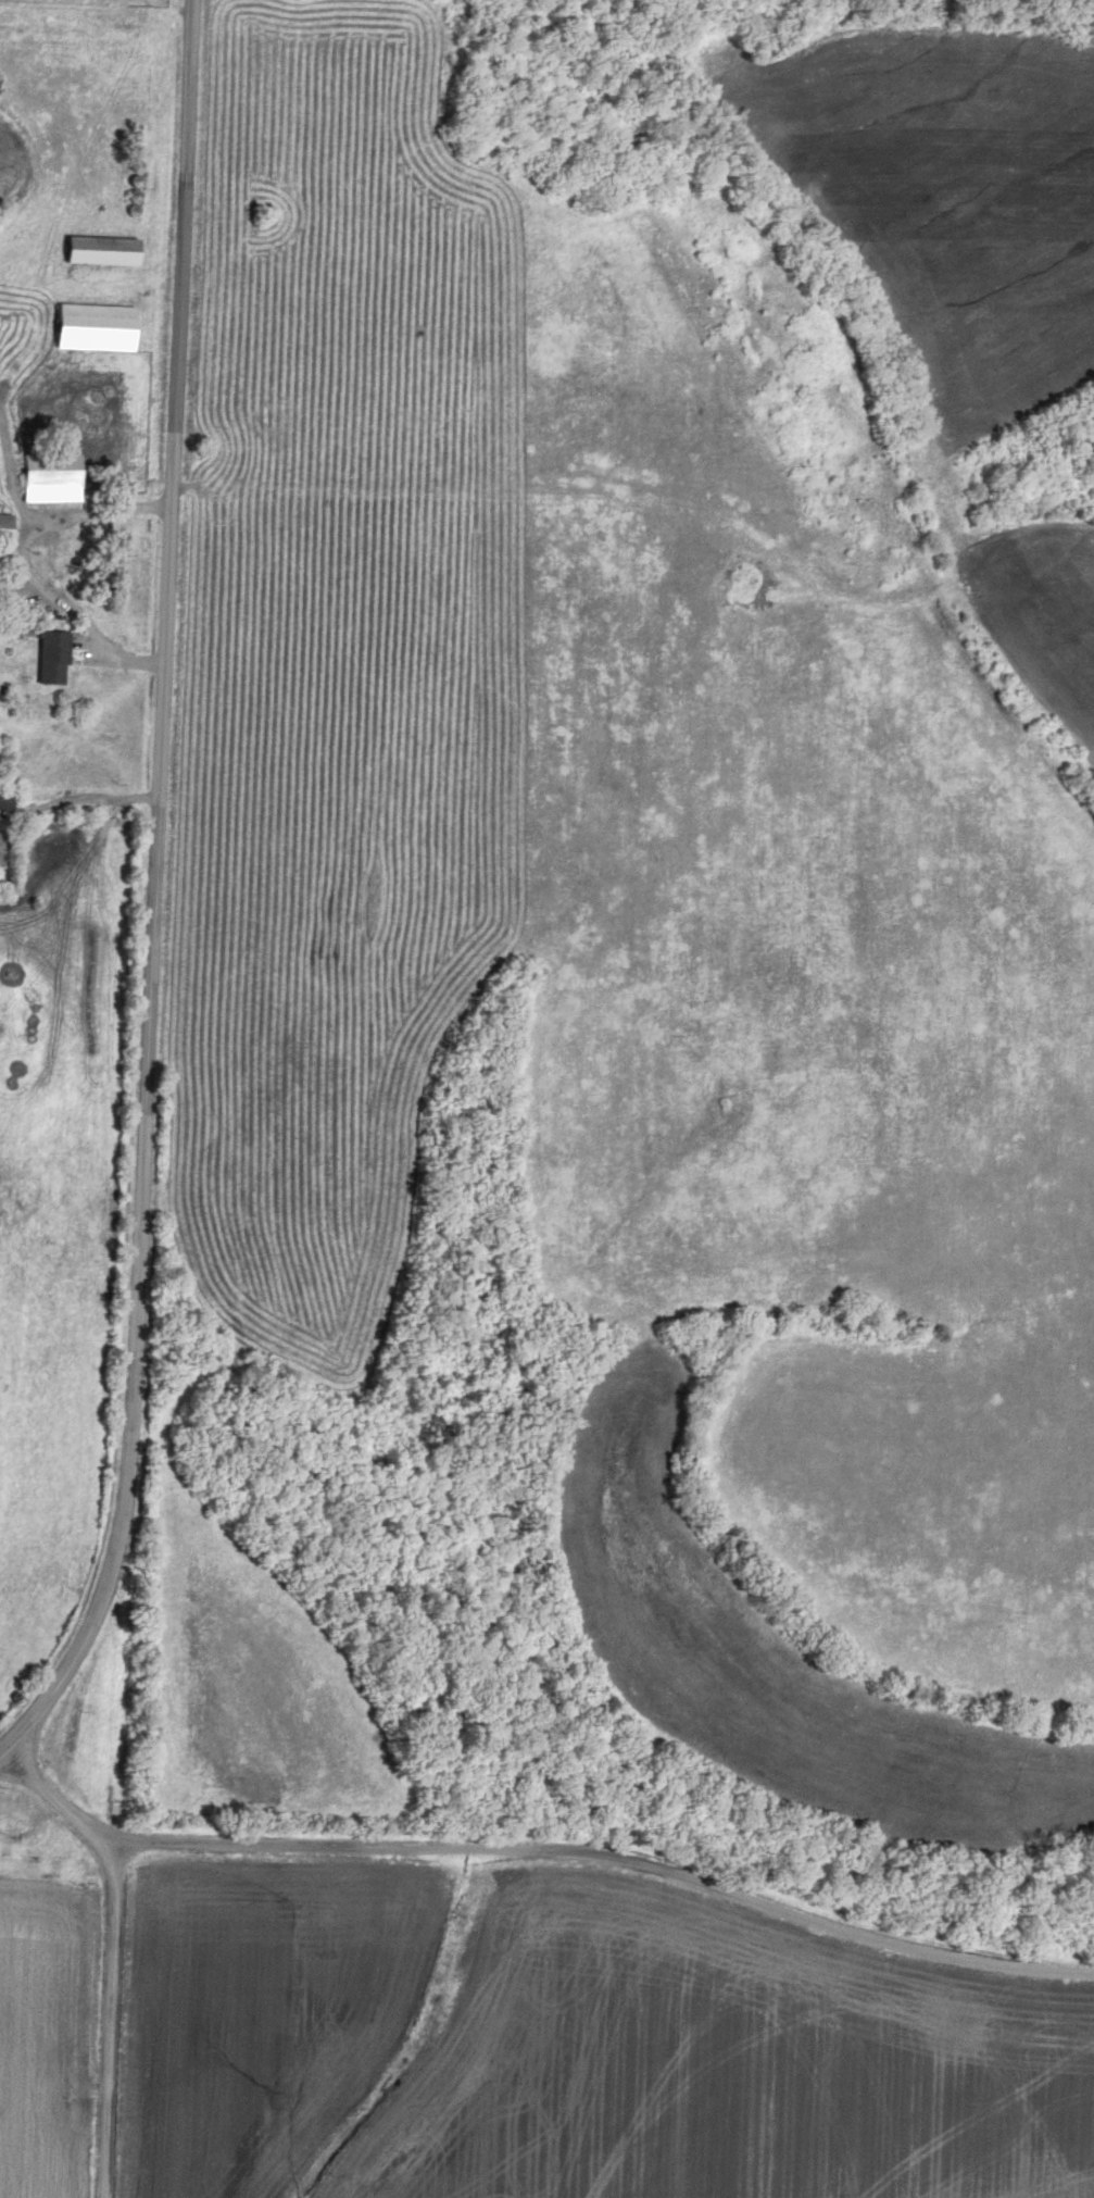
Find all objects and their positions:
building: (100, 252)
building: (95, 328)
building: (50, 479)
building: (5, 530)
road: (28, 570)
building: (52, 660)
building: (4, 801)
road: (88, 803)
road: (161, 900)
road: (614, 1857)
road: (117, 1949)

